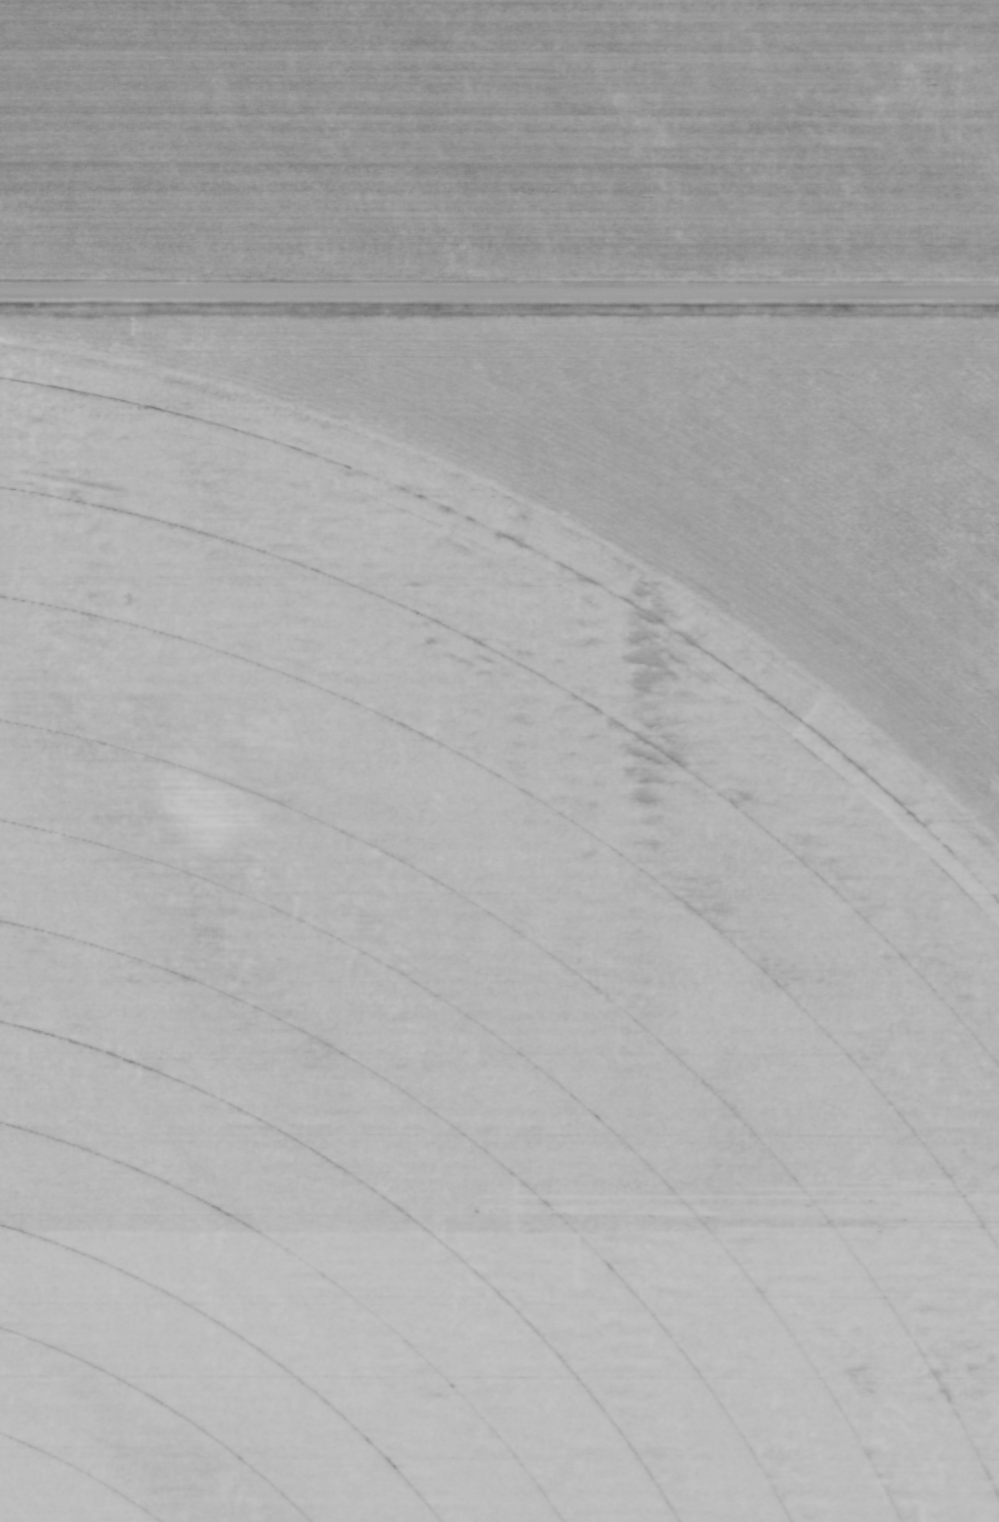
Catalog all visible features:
crop: (500, 137)
road: (499, 290)
crop: (499, 915)

